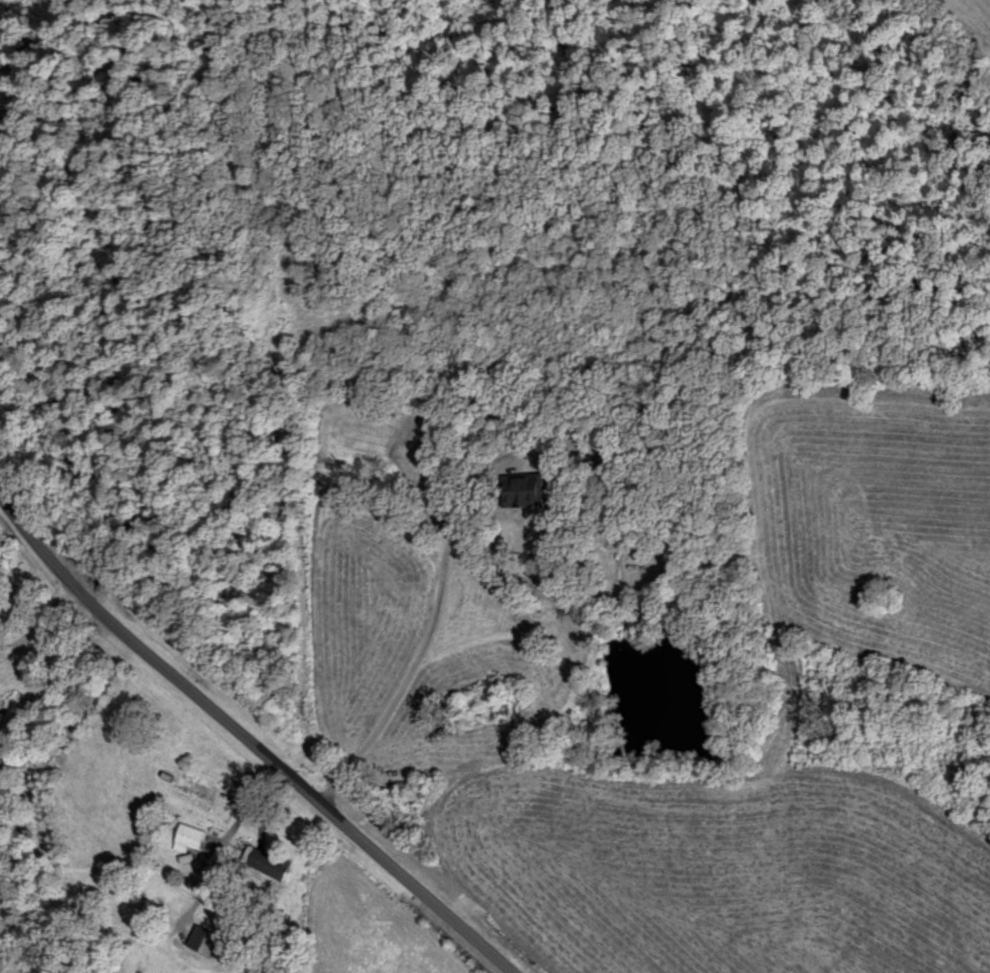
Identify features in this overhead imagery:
building: (532, 490)
building: (3, 705)
road: (249, 740)
building: (189, 837)
building: (200, 937)

